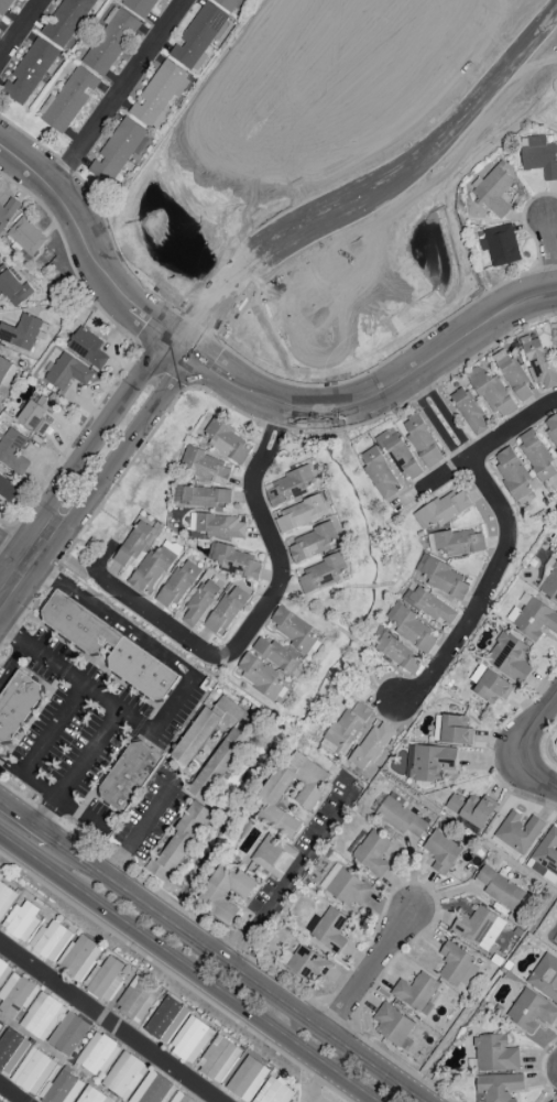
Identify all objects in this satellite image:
building: (230, 4)
building: (4, 7)
building: (140, 7)
building: (66, 21)
road: (22, 30)
building: (197, 36)
building: (109, 42)
building: (29, 72)
road: (120, 92)
building: (160, 95)
building: (68, 100)
building: (116, 151)
building: (539, 157)
road: (392, 178)
building: (493, 190)
building: (7, 214)
road: (84, 228)
building: (25, 237)
building: (499, 244)
road: (550, 255)
building: (12, 287)
building: (20, 332)
building: (87, 348)
building: (539, 363)
road: (159, 370)
building: (6, 371)
building: (67, 372)
building: (514, 377)
road: (389, 392)
building: (494, 395)
building: (469, 411)
building: (35, 415)
building: (550, 429)
building: (226, 441)
building: (422, 441)
road: (488, 448)
building: (12, 451)
building: (398, 455)
building: (536, 456)
building: (205, 467)
building: (379, 473)
building: (512, 473)
building: (288, 487)
building: (8, 490)
road: (80, 490)
building: (205, 497)
building: (443, 510)
building: (299, 514)
building: (218, 526)
building: (313, 543)
building: (457, 543)
road: (509, 544)
building: (556, 549)
road: (14, 553)
building: (237, 563)
building: (153, 568)
building: (321, 575)
building: (443, 578)
building: (549, 583)
building: (177, 585)
building: (199, 603)
road: (269, 604)
building: (430, 605)
building: (226, 611)
building: (293, 630)
building: (412, 630)
road: (140, 640)
building: (88, 644)
road: (77, 653)
building: (395, 653)
road: (81, 654)
building: (275, 655)
building: (510, 658)
road: (13, 663)
road: (69, 663)
building: (260, 676)
road: (59, 677)
building: (490, 686)
building: (17, 703)
road: (152, 706)
road: (548, 707)
road: (119, 711)
road: (29, 720)
road: (139, 722)
road: (136, 723)
parking lot: (73, 724)
building: (349, 727)
building: (455, 730)
building: (370, 745)
building: (230, 746)
road: (41, 749)
road: (533, 759)
building: (428, 762)
road: (12, 764)
road: (110, 766)
building: (129, 775)
building: (274, 790)
road: (85, 801)
building: (471, 809)
road: (83, 814)
building: (400, 816)
road: (24, 820)
building: (518, 832)
road: (139, 834)
building: (178, 843)
building: (441, 852)
building: (372, 853)
building: (273, 855)
road: (288, 874)
building: (347, 888)
building: (499, 888)
building: (226, 893)
building: (6, 898)
building: (21, 920)
building: (479, 928)
building: (329, 929)
building: (48, 941)
building: (555, 942)
building: (79, 958)
building: (307, 964)
road: (188, 967)
building: (457, 967)
road: (237, 968)
building: (3, 971)
road: (372, 974)
building: (545, 976)
building: (105, 980)
building: (415, 991)
building: (15, 996)
building: (136, 1000)
building: (531, 1012)
building: (42, 1016)
building: (166, 1021)
road: (108, 1022)
building: (0, 1023)
building: (393, 1026)
building: (67, 1035)
building: (190, 1040)
building: (10, 1050)
building: (495, 1054)
building: (97, 1055)
building: (218, 1060)
building: (32, 1072)
building: (123, 1076)
building: (247, 1079)
building: (499, 1087)
building: (59, 1089)
building: (151, 1089)
building: (273, 1092)
road: (550, 1092)
road: (11, 1093)
building: (90, 1095)
building: (179, 1098)
building: (0, 1101)

